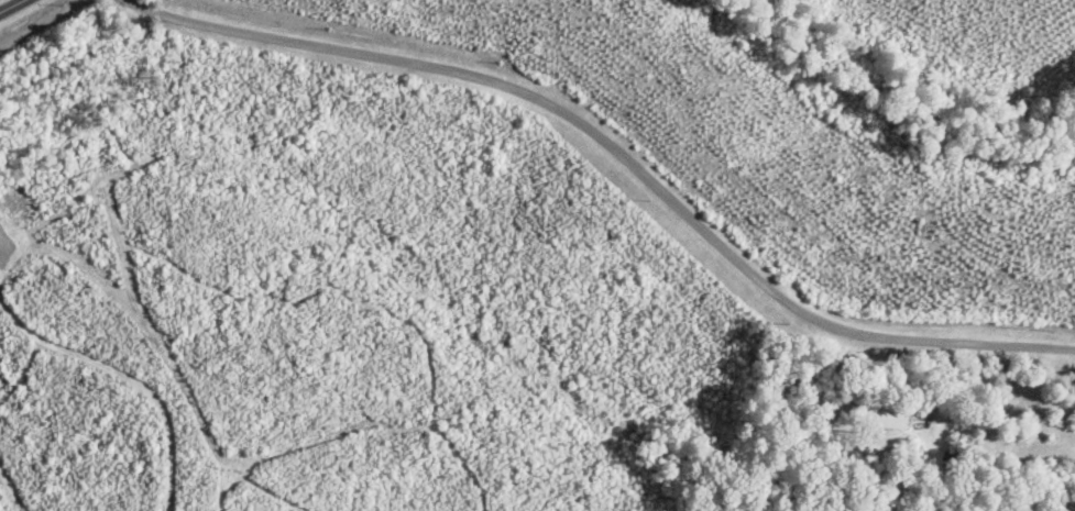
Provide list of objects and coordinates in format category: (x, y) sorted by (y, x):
road: (15, 8)
road: (618, 155)
building: (884, 416)

